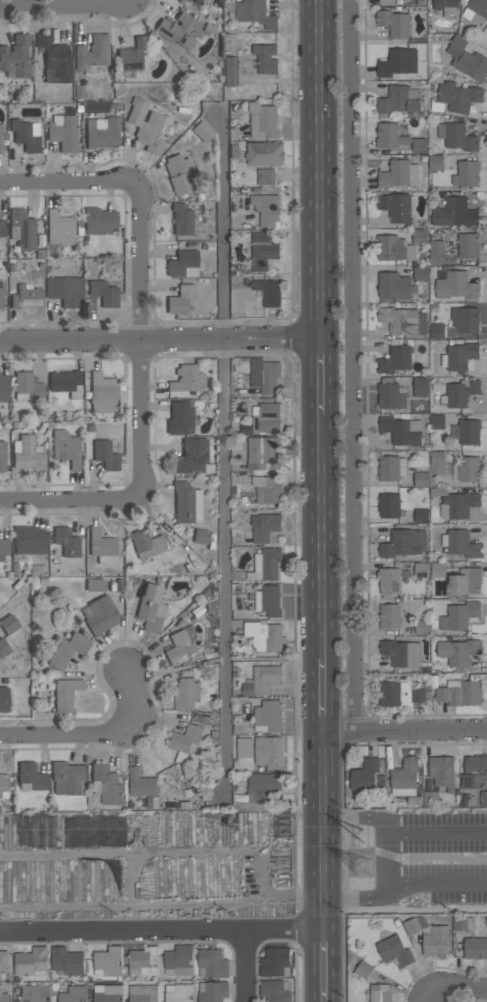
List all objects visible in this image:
road: (68, 2)
building: (446, 7)
building: (476, 11)
building: (255, 14)
building: (394, 23)
building: (177, 29)
building: (92, 52)
building: (132, 54)
building: (16, 55)
building: (265, 58)
building: (55, 59)
building: (466, 60)
building: (397, 63)
building: (230, 71)
building: (458, 97)
building: (399, 100)
building: (95, 107)
building: (262, 121)
building: (145, 125)
building: (202, 131)
building: (63, 132)
building: (102, 132)
building: (26, 134)
building: (390, 136)
building: (456, 137)
building: (1, 139)
building: (419, 146)
building: (264, 154)
building: (435, 163)
road: (318, 170)
building: (179, 173)
building: (398, 174)
building: (466, 174)
building: (265, 177)
road: (137, 192)
building: (395, 207)
building: (266, 209)
building: (454, 213)
building: (181, 218)
building: (99, 220)
building: (2, 228)
building: (59, 228)
building: (21, 229)
building: (419, 237)
building: (468, 246)
building: (395, 249)
building: (262, 251)
building: (436, 253)
building: (183, 263)
building: (420, 274)
building: (395, 286)
building: (456, 286)
building: (63, 287)
building: (103, 292)
building: (268, 292)
building: (0, 295)
building: (26, 297)
building: (181, 299)
building: (465, 319)
building: (403, 321)
building: (436, 331)
road: (159, 341)
building: (459, 357)
building: (394, 360)
road: (353, 366)
building: (264, 376)
road: (319, 377)
building: (187, 379)
building: (66, 382)
building: (27, 386)
building: (3, 387)
building: (420, 387)
building: (103, 393)
building: (461, 393)
building: (391, 395)
building: (180, 418)
building: (266, 418)
building: (437, 422)
building: (246, 429)
building: (401, 431)
building: (469, 432)
building: (66, 447)
building: (28, 453)
building: (262, 454)
building: (105, 455)
building: (192, 456)
building: (2, 457)
road: (224, 459)
building: (437, 463)
building: (390, 468)
building: (468, 470)
building: (421, 479)
road: (138, 488)
building: (266, 489)
building: (437, 492)
building: (186, 503)
building: (388, 505)
building: (458, 505)
building: (421, 516)
building: (264, 527)
building: (200, 535)
road: (321, 536)
building: (29, 539)
building: (66, 541)
building: (145, 543)
building: (403, 543)
building: (460, 544)
building: (102, 546)
building: (4, 548)
building: (265, 565)
building: (421, 570)
building: (438, 570)
building: (388, 580)
building: (465, 582)
building: (95, 584)
building: (268, 601)
building: (150, 608)
building: (99, 614)
building: (459, 616)
building: (389, 617)
building: (8, 623)
building: (422, 627)
building: (263, 636)
building: (181, 647)
building: (3, 648)
building: (68, 649)
building: (401, 653)
building: (458, 653)
building: (1, 663)
building: (264, 679)
building: (459, 693)
building: (64, 694)
building: (186, 694)
building: (400, 694)
road: (322, 695)
building: (5, 699)
building: (267, 718)
road: (97, 728)
road: (404, 732)
building: (185, 740)
building: (244, 748)
building: (268, 751)
building: (474, 772)
building: (442, 773)
building: (365, 775)
building: (30, 777)
building: (67, 778)
building: (404, 778)
building: (3, 782)
building: (141, 784)
building: (105, 785)
building: (261, 789)
building: (430, 799)
building: (483, 799)
road: (322, 832)
power tower: (367, 835)
road: (437, 835)
parking lot: (446, 857)
road: (388, 859)
crop: (149, 863)
power tower: (368, 866)
road: (437, 885)
building: (462, 923)
building: (414, 925)
road: (158, 930)
road: (284, 931)
building: (435, 941)
building: (475, 948)
building: (394, 951)
building: (3, 961)
building: (178, 961)
building: (66, 962)
building: (107, 962)
building: (143, 962)
building: (274, 962)
building: (31, 963)
building: (212, 964)
road: (323, 966)
building: (363, 970)
road: (454, 984)
building: (275, 990)
building: (212, 991)
building: (33, 993)
building: (107, 993)
building: (143, 993)
building: (179, 993)
building: (380, 993)
building: (73, 994)
building: (2, 996)

